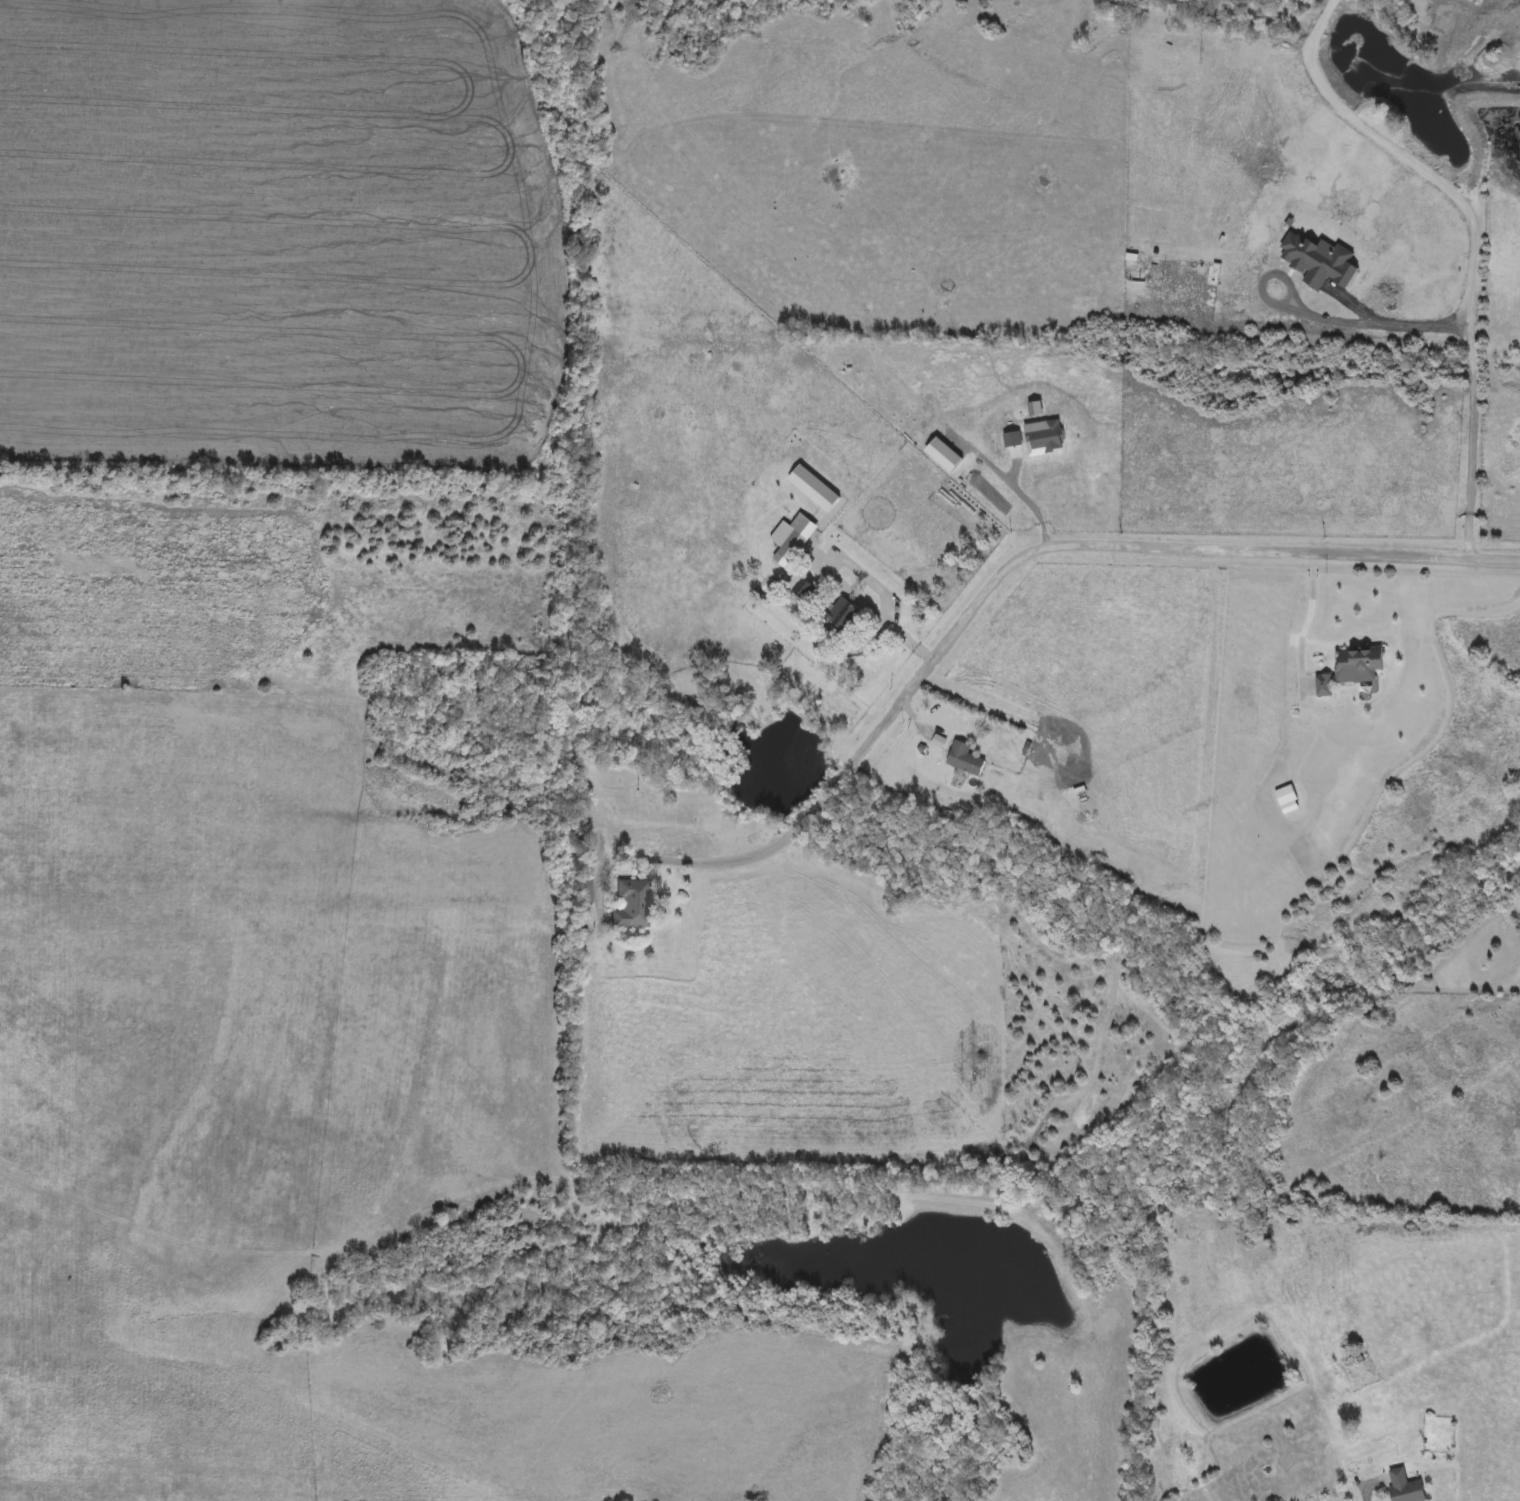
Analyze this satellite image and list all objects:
road: (1477, 372)
building: (786, 544)
road: (1043, 548)
building: (803, 590)
road: (850, 595)
road: (887, 598)
building: (841, 615)
road: (1306, 621)
building: (1351, 669)
building: (964, 760)
building: (1285, 796)
road: (620, 860)
building: (585, 885)
building: (631, 905)
building: (1404, 1487)

